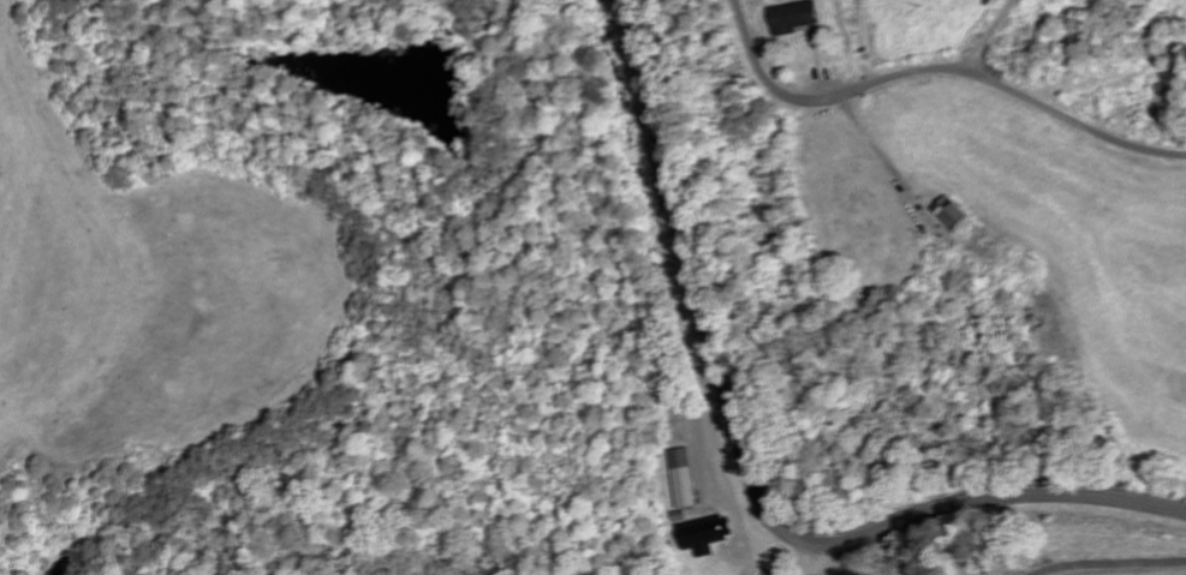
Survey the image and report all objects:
building: (792, 19)
road: (988, 35)
road: (938, 67)
building: (949, 215)
road: (747, 469)
building: (685, 479)
building: (704, 535)
road: (816, 559)

